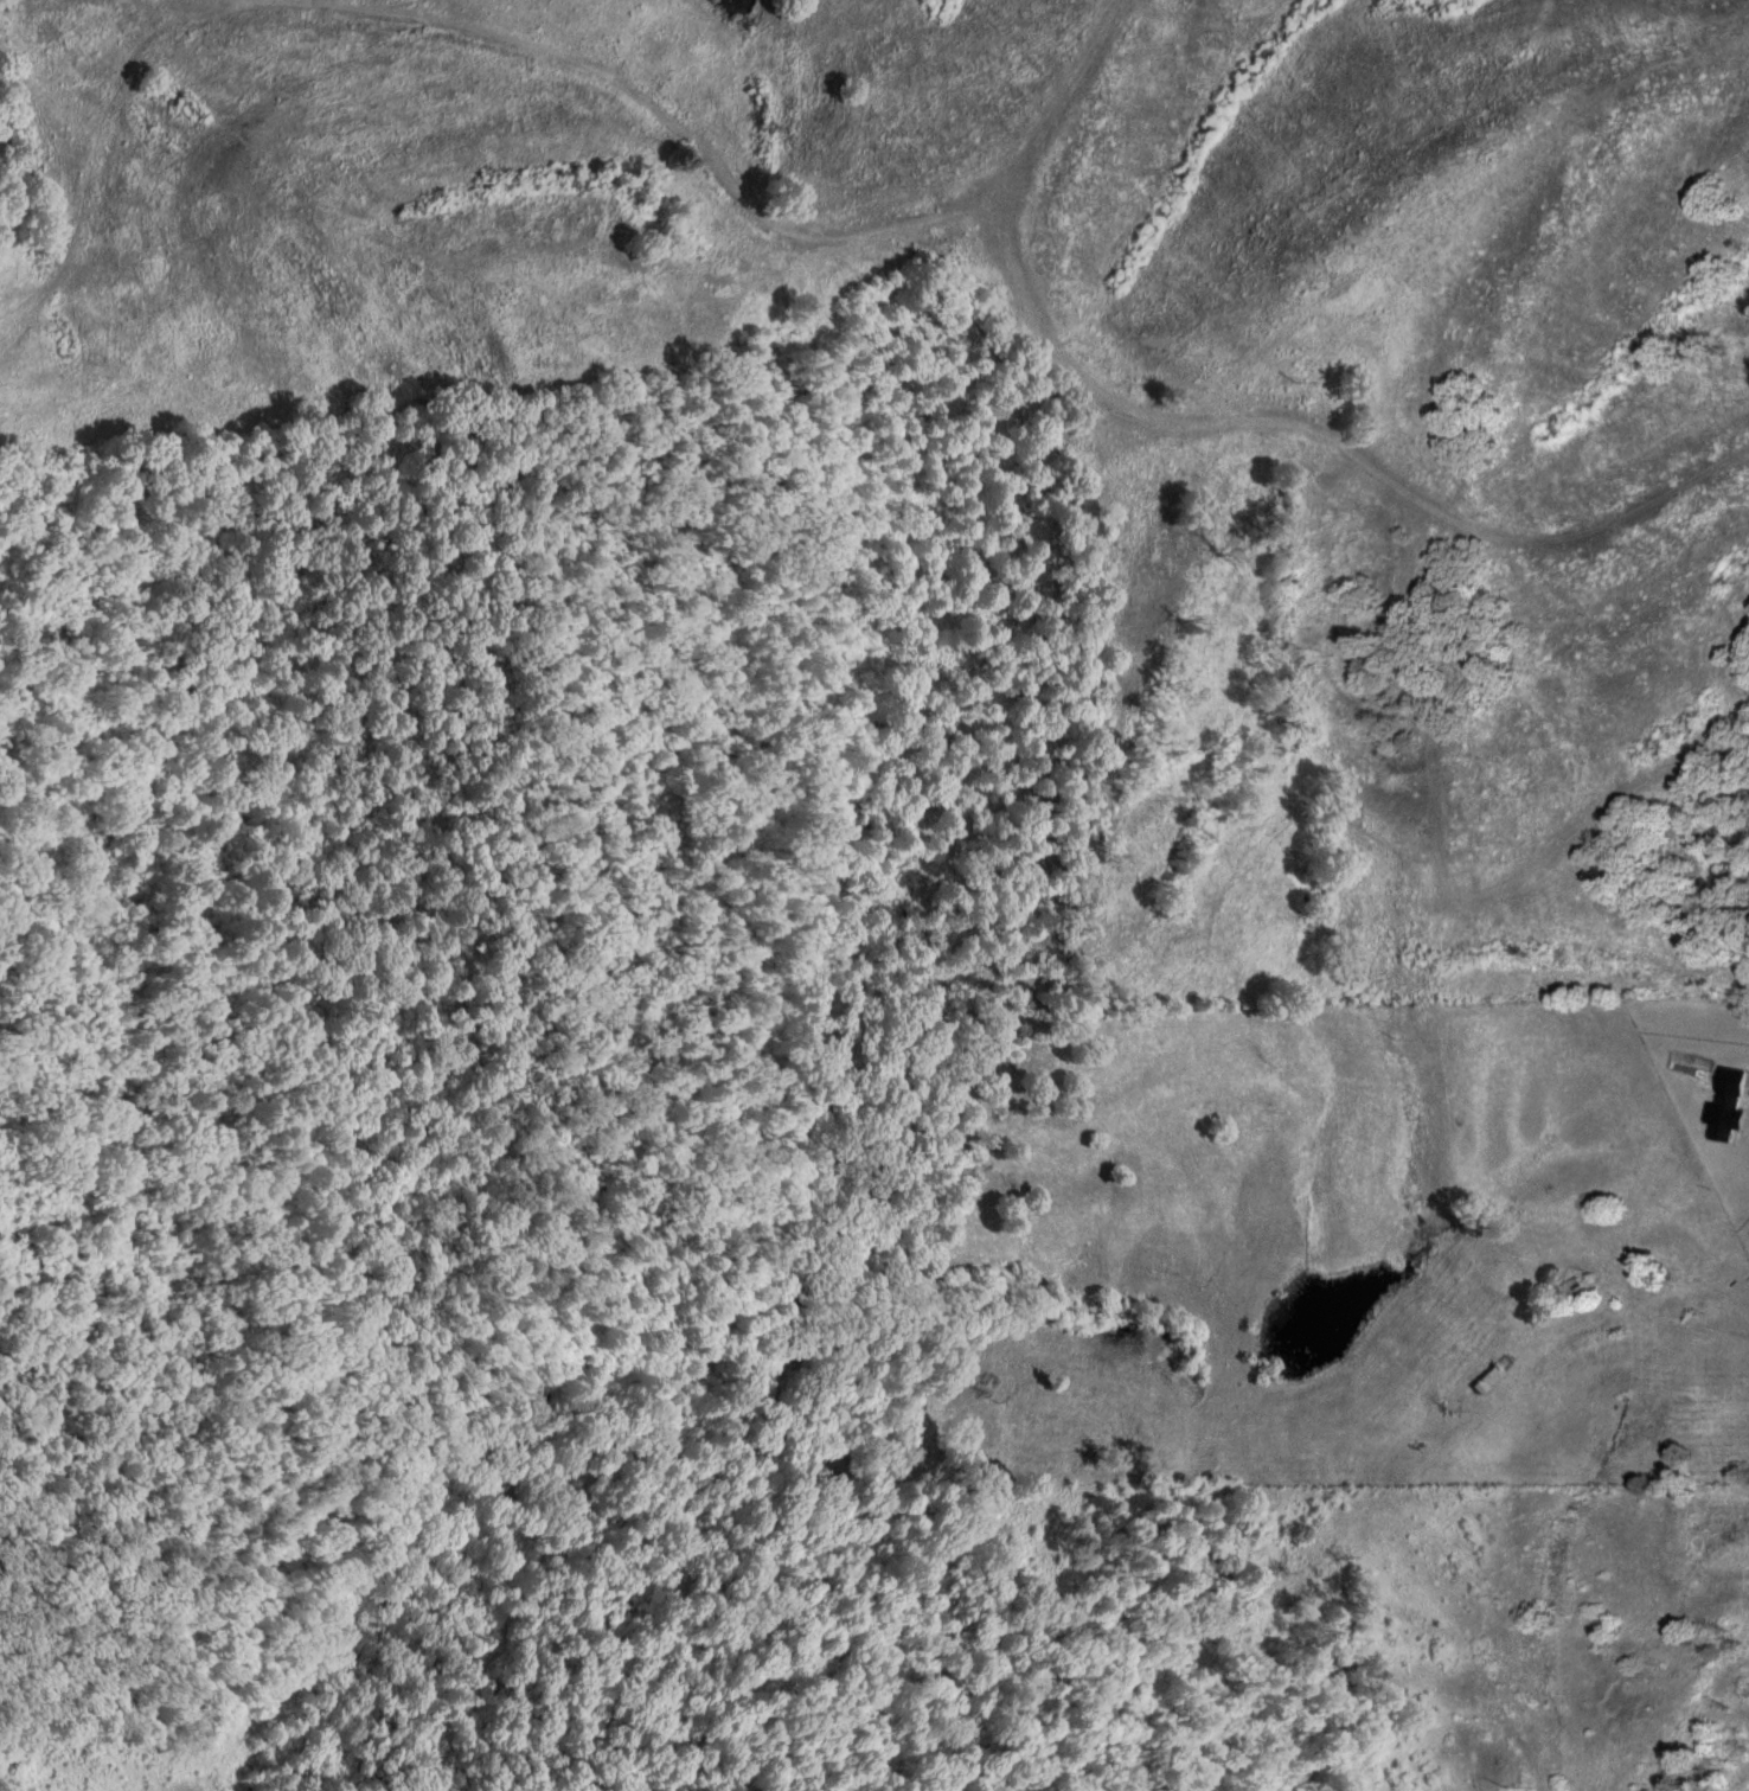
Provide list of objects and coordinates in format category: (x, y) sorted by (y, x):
building: (1567, 1291)
building: (1492, 1376)

